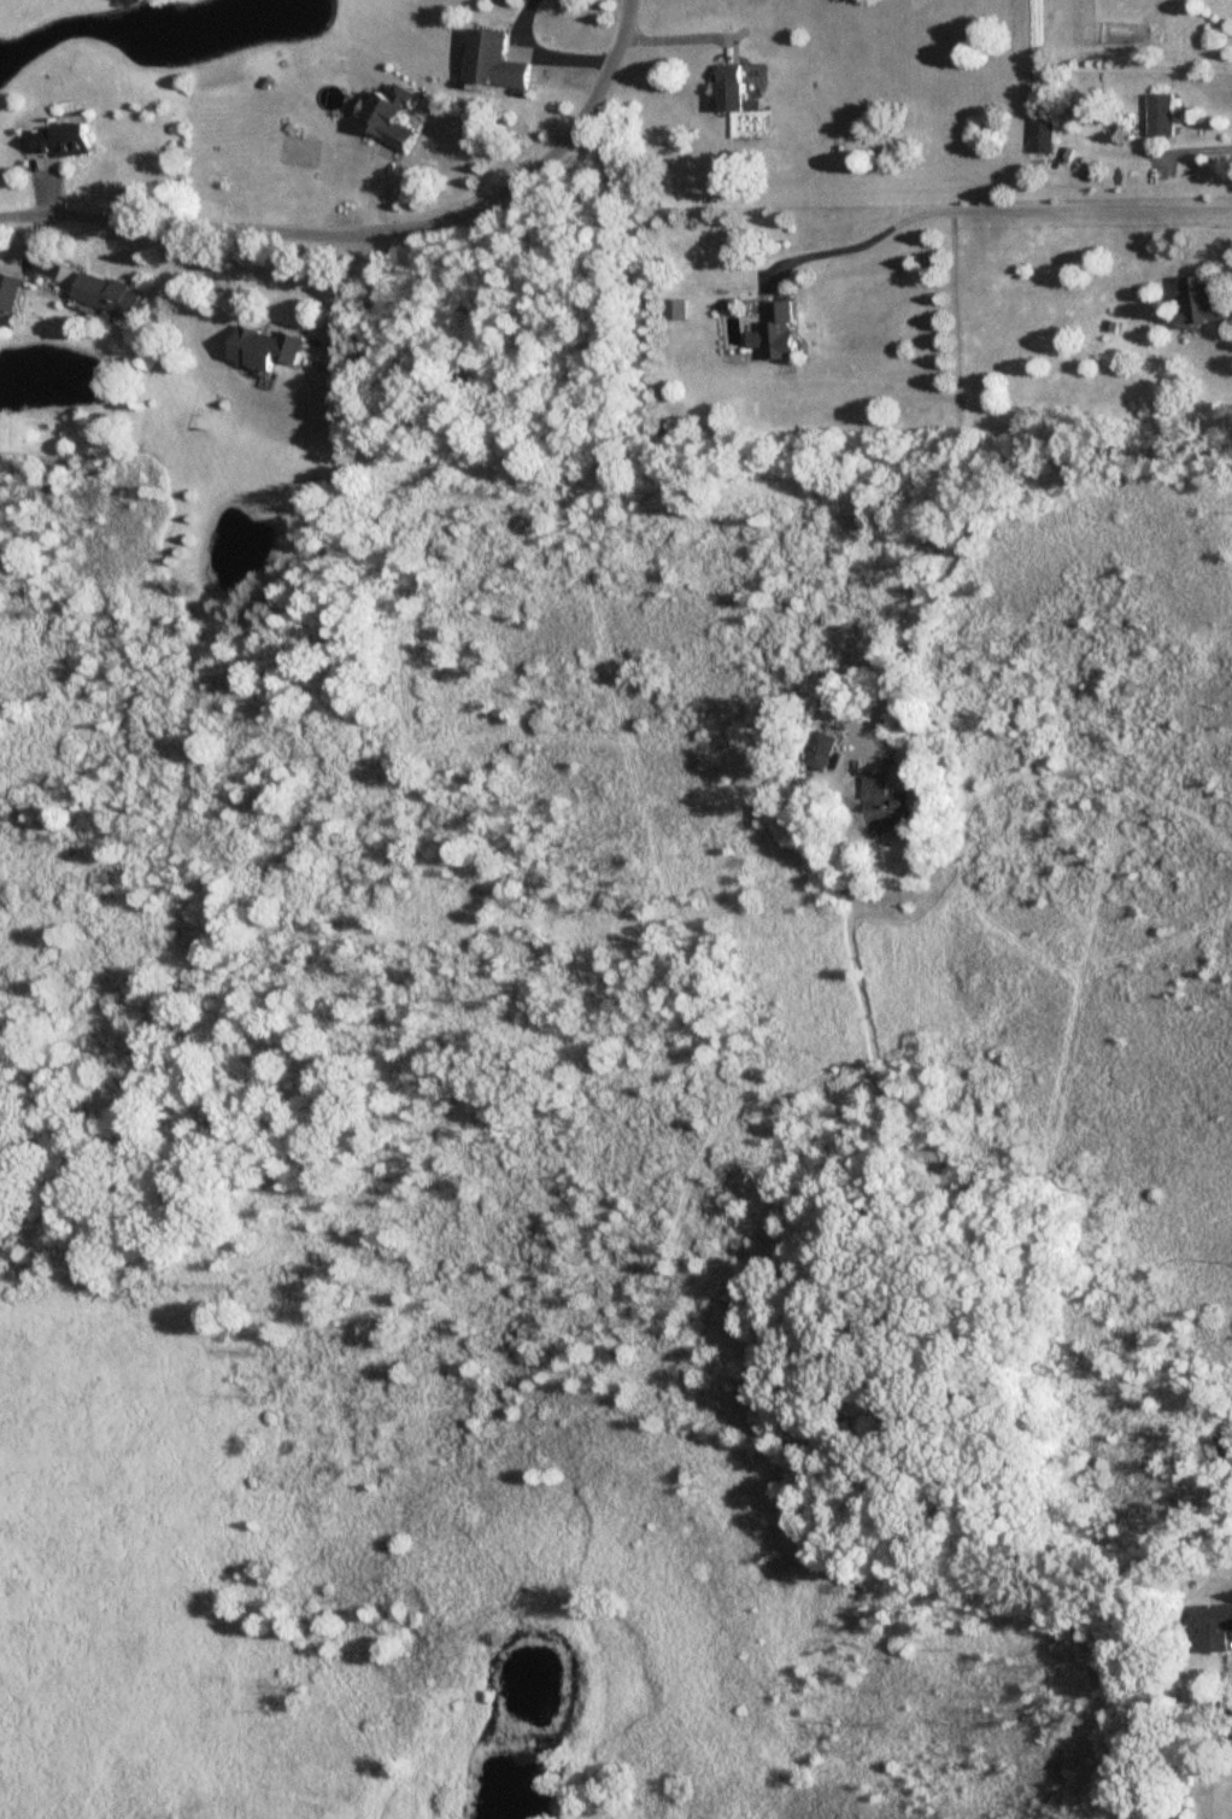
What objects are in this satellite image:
road: (676, 39)
road: (541, 54)
building: (497, 62)
building: (734, 90)
building: (1163, 115)
building: (395, 117)
building: (1043, 135)
building: (68, 140)
road: (1191, 148)
road: (995, 211)
road: (370, 232)
building: (8, 293)
building: (111, 296)
building: (1203, 303)
building: (679, 310)
building: (781, 333)
building: (269, 349)
road: (976, 509)
building: (822, 750)
building: (891, 807)
building: (1216, 1628)

